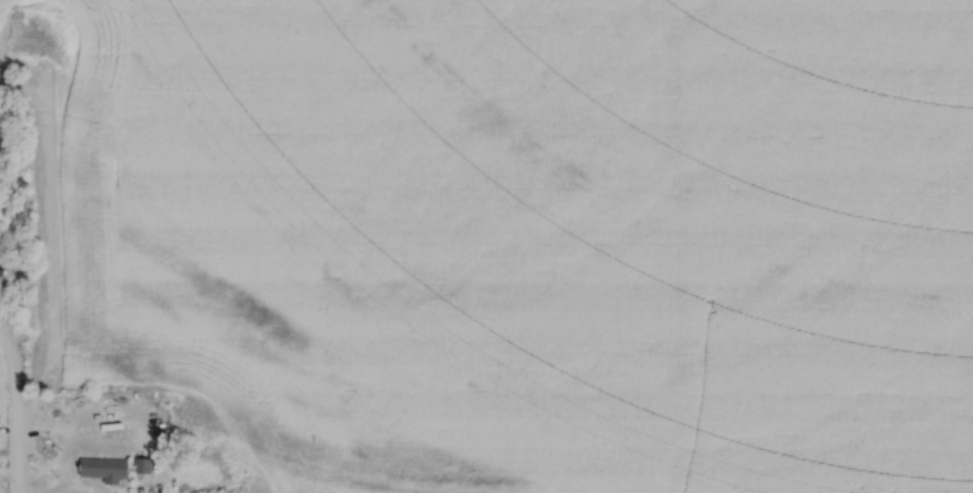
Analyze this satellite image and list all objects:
road: (3, 351)
road: (9, 426)
building: (141, 464)
building: (102, 468)

